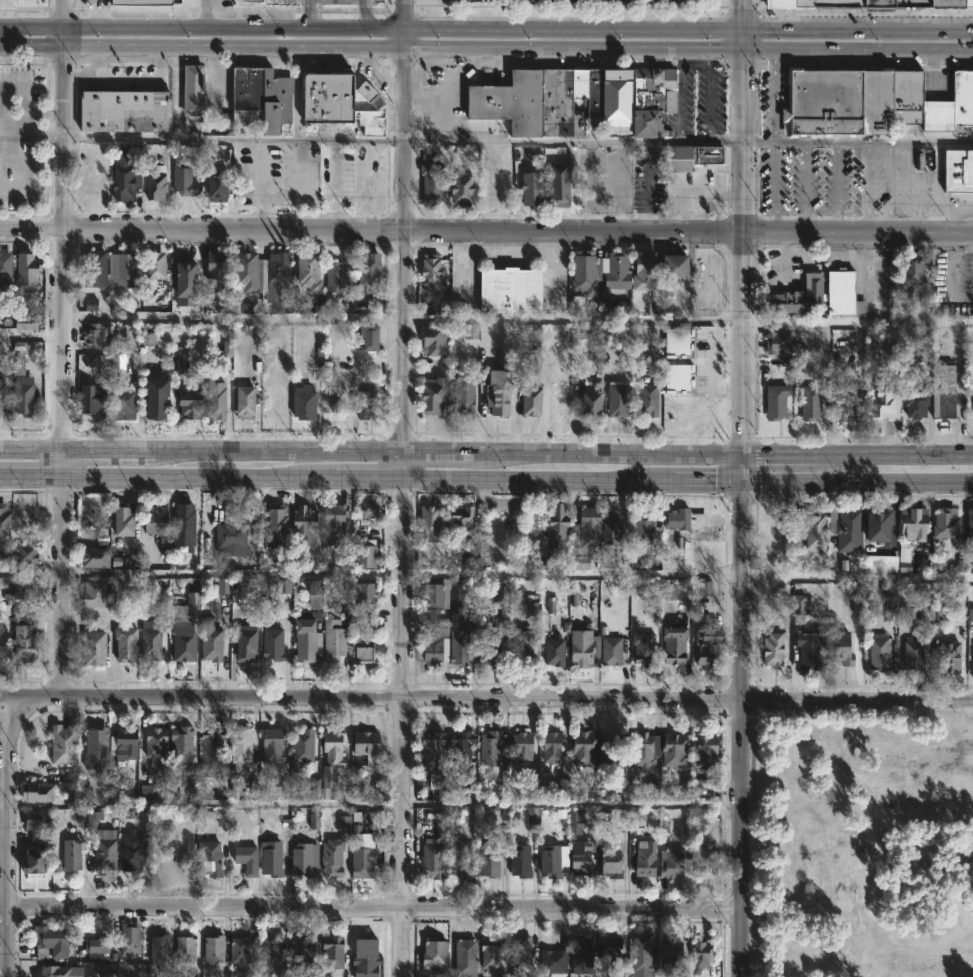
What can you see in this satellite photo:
building: (36, 0)
building: (251, 0)
building: (92, 1)
building: (148, 2)
parking lot: (570, 2)
building: (909, 2)
building: (824, 3)
building: (876, 3)
building: (777, 4)
building: (950, 4)
road: (67, 15)
road: (206, 15)
road: (308, 16)
road: (363, 16)
road: (405, 16)
road: (746, 16)
road: (33, 29)
road: (236, 31)
road: (575, 33)
traffic signals: (746, 33)
road: (859, 33)
road: (67, 38)
road: (405, 40)
road: (746, 41)
road: (33, 46)
road: (236, 47)
road: (575, 49)
traffic signals: (746, 50)
road: (859, 50)
road: (322, 66)
road: (372, 78)
road: (122, 79)
road: (80, 80)
building: (191, 89)
building: (906, 96)
building: (959, 97)
building: (970, 97)
building: (258, 99)
building: (547, 99)
building: (650, 100)
building: (334, 102)
building: (836, 103)
building: (128, 111)
building: (936, 116)
road: (33, 136)
road: (67, 137)
road: (163, 138)
road: (304, 138)
road: (284, 139)
road: (574, 141)
road: (774, 141)
road: (858, 142)
building: (189, 151)
building: (96, 153)
building: (689, 156)
building: (923, 159)
building: (957, 173)
building: (126, 175)
building: (90, 183)
road: (335, 183)
building: (429, 184)
road: (919, 184)
building: (187, 185)
building: (159, 186)
road: (805, 186)
building: (213, 187)
road: (836, 187)
road: (865, 187)
road: (893, 187)
road: (939, 187)
building: (458, 188)
building: (528, 188)
building: (556, 191)
road: (961, 216)
road: (33, 227)
road: (520, 230)
road: (404, 250)
road: (742, 251)
building: (158, 265)
building: (670, 267)
building: (93, 268)
building: (124, 270)
building: (365, 270)
building: (427, 270)
building: (907, 270)
building: (7, 271)
building: (213, 271)
building: (305, 271)
building: (614, 271)
building: (583, 272)
building: (642, 272)
building: (29, 273)
building: (244, 273)
building: (333, 277)
building: (271, 282)
building: (186, 284)
building: (507, 290)
building: (840, 293)
building: (796, 297)
building: (90, 305)
building: (244, 308)
road: (234, 315)
road: (573, 317)
building: (28, 322)
road: (857, 322)
building: (471, 331)
road: (32, 335)
building: (94, 336)
road: (64, 337)
building: (368, 337)
building: (429, 341)
building: (677, 341)
building: (779, 345)
building: (227, 348)
building: (92, 359)
building: (908, 362)
building: (678, 377)
building: (90, 392)
building: (941, 392)
building: (495, 393)
building: (430, 395)
building: (153, 397)
building: (461, 397)
building: (615, 398)
building: (25, 399)
building: (647, 399)
building: (4, 400)
building: (215, 400)
building: (558, 400)
building: (972, 400)
building: (188, 401)
building: (530, 401)
building: (774, 401)
building: (844, 402)
building: (241, 403)
building: (300, 403)
building: (810, 403)
building: (882, 403)
building: (361, 404)
building: (589, 404)
building: (125, 405)
building: (913, 405)
road: (31, 446)
road: (101, 447)
road: (272, 450)
road: (440, 453)
road: (608, 453)
traffic signals: (740, 454)
road: (779, 454)
road: (896, 455)
road: (63, 458)
road: (404, 464)
road: (740, 465)
road: (32, 468)
road: (199, 472)
road: (369, 476)
road: (539, 477)
road: (707, 477)
traffic signals: (740, 477)
road: (856, 478)
building: (459, 516)
building: (676, 519)
building: (126, 520)
building: (154, 520)
building: (5, 522)
building: (429, 522)
building: (330, 523)
building: (911, 524)
building: (944, 524)
building: (969, 524)
building: (181, 525)
building: (272, 525)
building: (301, 525)
building: (877, 526)
building: (610, 528)
building: (554, 529)
building: (845, 530)
building: (814, 532)
building: (229, 535)
building: (581, 537)
building: (643, 537)
building: (704, 551)
building: (459, 553)
building: (29, 554)
building: (363, 557)
building: (92, 558)
building: (344, 558)
building: (880, 563)
road: (31, 571)
road: (856, 572)
road: (233, 573)
road: (571, 573)
road: (63, 582)
building: (222, 586)
building: (705, 588)
building: (26, 589)
building: (668, 591)
building: (92, 594)
building: (311, 595)
building: (280, 596)
building: (362, 596)
building: (431, 597)
building: (890, 603)
building: (501, 604)
building: (798, 604)
building: (551, 605)
building: (857, 608)
building: (191, 609)
building: (531, 609)
building: (925, 612)
building: (970, 613)
building: (25, 637)
building: (153, 640)
building: (303, 640)
building: (4, 641)
building: (179, 641)
building: (208, 641)
building: (330, 641)
building: (242, 643)
building: (269, 644)
building: (128, 645)
building: (519, 645)
building: (670, 645)
building: (488, 648)
building: (580, 648)
building: (640, 648)
building: (96, 649)
building: (705, 649)
building: (772, 649)
building: (807, 649)
building: (838, 649)
building: (430, 651)
building: (458, 651)
building: (610, 651)
building: (878, 651)
building: (361, 652)
building: (551, 652)
building: (912, 654)
building: (947, 656)
road: (486, 698)
road: (402, 726)
road: (739, 727)
building: (128, 742)
building: (62, 744)
building: (362, 744)
building: (154, 745)
building: (518, 745)
building: (237, 746)
building: (269, 746)
building: (458, 747)
building: (96, 748)
building: (549, 748)
building: (582, 748)
building: (703, 748)
building: (180, 749)
building: (298, 749)
building: (429, 749)
building: (486, 749)
building: (642, 749)
building: (671, 749)
building: (207, 752)
building: (611, 752)
building: (329, 757)
building: (113, 788)
building: (359, 788)
building: (652, 790)
building: (37, 791)
building: (145, 791)
building: (188, 791)
building: (80, 798)
building: (533, 817)
building: (34, 818)
building: (221, 820)
building: (636, 820)
building: (314, 821)
building: (343, 821)
building: (576, 822)
building: (440, 825)
road: (7, 836)
building: (102, 850)
building: (129, 851)
building: (70, 854)
building: (329, 856)
building: (578, 856)
building: (207, 857)
building: (268, 858)
building: (430, 858)
building: (456, 858)
building: (243, 859)
building: (489, 859)
building: (608, 859)
building: (32, 860)
building: (299, 860)
building: (517, 860)
building: (642, 860)
building: (701, 860)
building: (359, 861)
building: (549, 861)
building: (670, 862)
road: (373, 909)
building: (130, 940)
building: (48, 941)
building: (98, 945)
building: (184, 947)
building: (162, 949)
building: (210, 950)
building: (236, 951)
building: (329, 951)
building: (518, 951)
building: (607, 951)
building: (488, 952)
building: (267, 953)
building: (298, 953)
building: (669, 953)
building: (431, 954)
building: (578, 954)
building: (639, 956)
building: (699, 956)
building: (361, 957)
building: (462, 958)
building: (551, 961)
building: (58, 971)

